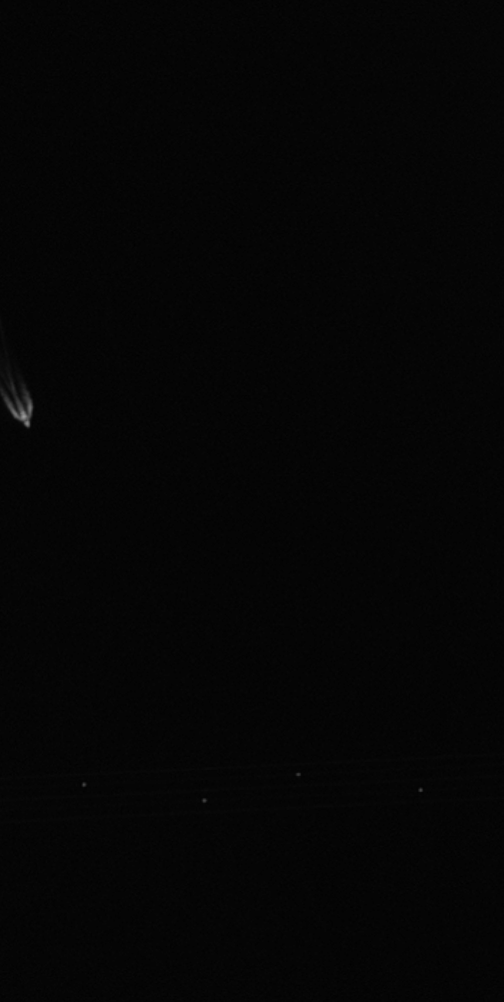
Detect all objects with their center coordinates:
river: (172, 632)

